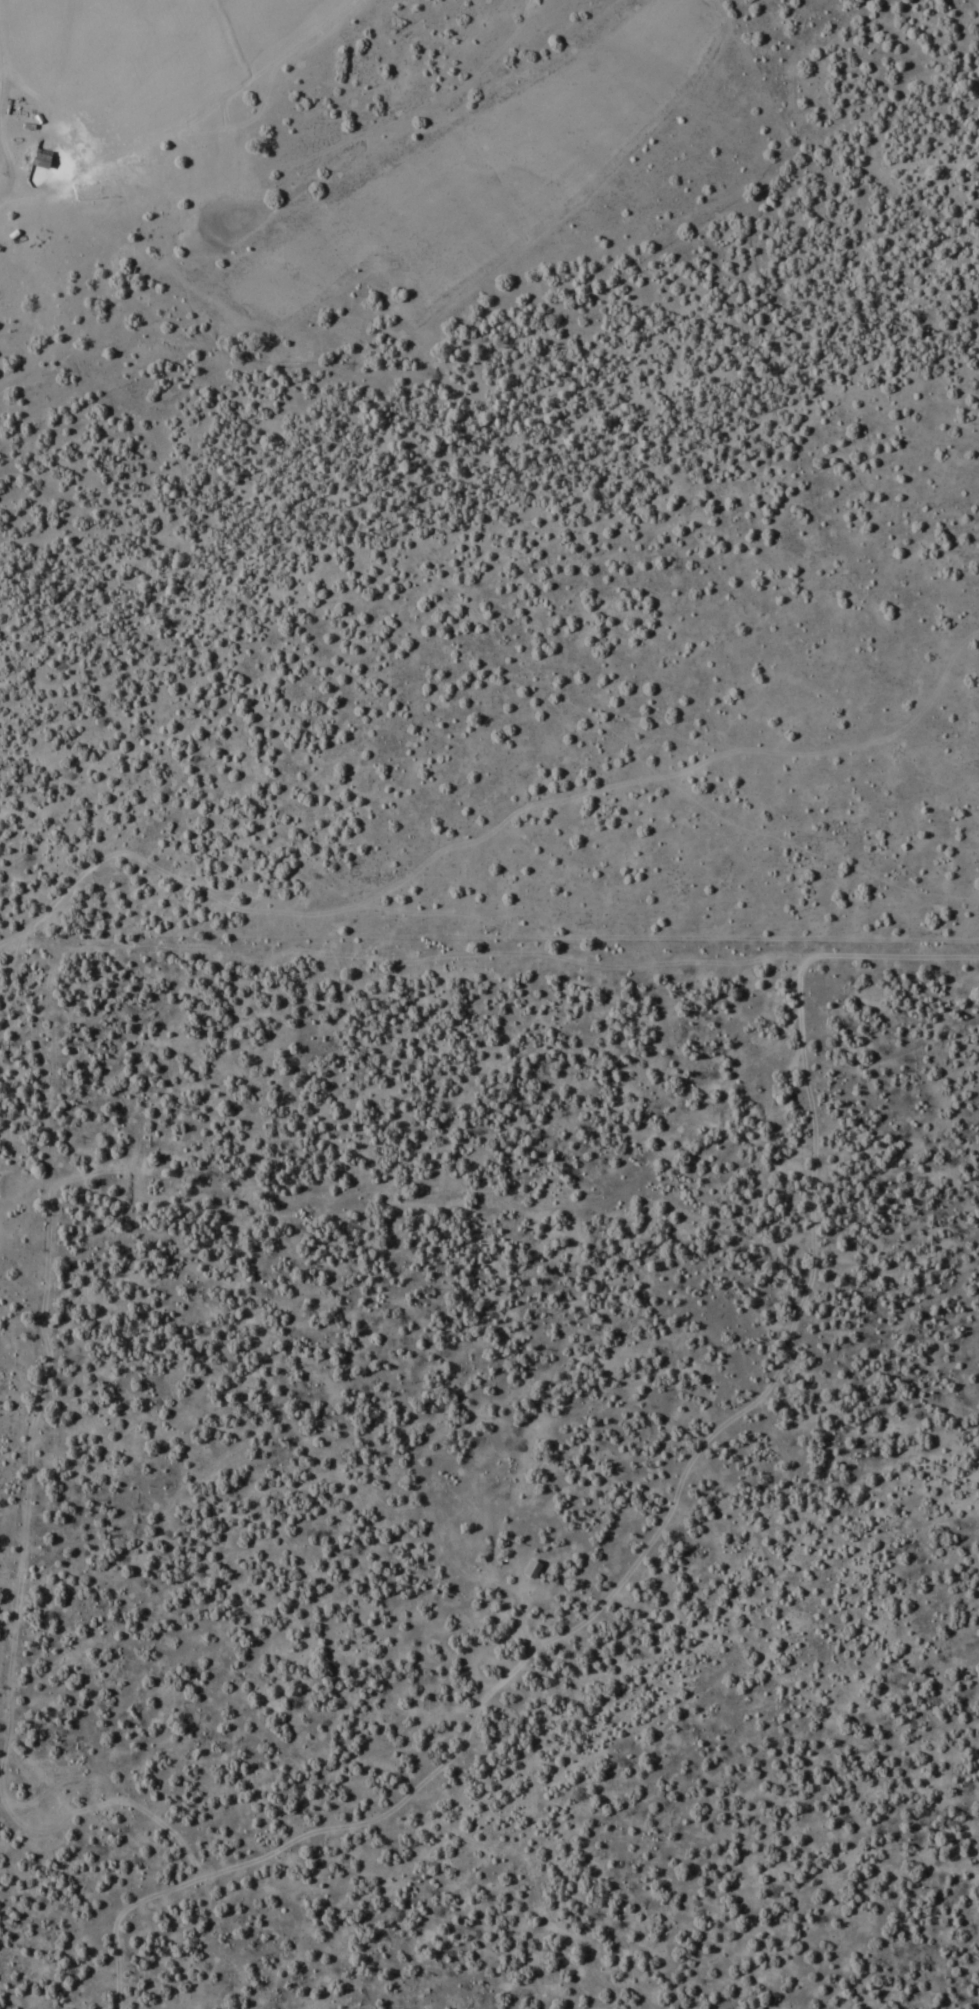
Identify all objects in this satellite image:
road: (6, 7)
building: (38, 161)

